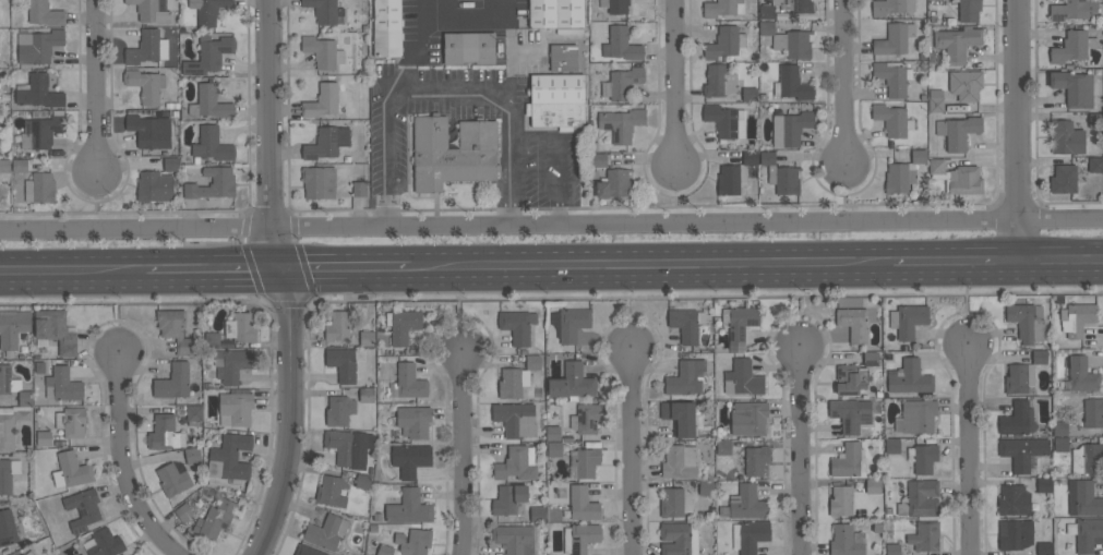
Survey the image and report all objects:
building: (794, 4)
building: (618, 7)
building: (891, 7)
building: (721, 8)
building: (207, 10)
building: (969, 10)
building: (1074, 10)
building: (149, 11)
building: (323, 11)
building: (766, 12)
building: (45, 13)
building: (555, 13)
building: (386, 28)
building: (767, 28)
road: (421, 33)
building: (895, 38)
building: (724, 43)
building: (792, 44)
building: (956, 44)
building: (621, 45)
building: (37, 47)
building: (1072, 47)
building: (146, 48)
building: (468, 48)
building: (322, 51)
building: (208, 55)
building: (563, 58)
building: (892, 76)
building: (719, 81)
road: (843, 82)
building: (622, 83)
road: (673, 84)
building: (792, 84)
building: (966, 84)
building: (144, 85)
road: (444, 85)
road: (95, 86)
building: (1074, 87)
road: (398, 89)
building: (37, 92)
building: (750, 94)
road: (500, 98)
building: (556, 100)
building: (936, 100)
building: (322, 101)
building: (209, 102)
building: (892, 119)
building: (726, 121)
building: (621, 123)
building: (789, 129)
road: (1015, 129)
building: (149, 131)
building: (40, 132)
building: (957, 132)
road: (272, 135)
building: (1067, 138)
building: (326, 143)
building: (212, 145)
building: (453, 153)
building: (918, 156)
road: (556, 158)
building: (767, 158)
building: (599, 159)
building: (170, 164)
building: (1095, 165)
building: (4, 166)
building: (20, 166)
road: (512, 166)
building: (935, 166)
road: (386, 168)
building: (898, 178)
building: (731, 179)
building: (784, 179)
building: (1064, 179)
building: (961, 180)
building: (319, 182)
building: (212, 183)
building: (614, 183)
building: (154, 186)
building: (39, 188)
building: (359, 189)
road: (846, 191)
road: (674, 194)
road: (551, 222)
road: (1057, 248)
road: (952, 260)
road: (650, 264)
road: (346, 270)
road: (214, 272)
traffic signals: (281, 272)
road: (1057, 273)
road: (73, 274)
road: (967, 301)
road: (631, 306)
road: (802, 307)
road: (466, 310)
road: (121, 314)
building: (1077, 318)
building: (908, 319)
building: (740, 322)
building: (1027, 322)
building: (570, 323)
building: (853, 323)
building: (686, 324)
building: (404, 325)
building: (337, 326)
building: (517, 326)
building: (12, 327)
building: (241, 327)
building: (175, 329)
building: (56, 330)
building: (367, 338)
building: (212, 339)
building: (1039, 357)
building: (870, 358)
building: (532, 362)
building: (341, 363)
building: (235, 364)
building: (1082, 375)
building: (909, 377)
building: (1019, 377)
building: (685, 378)
building: (742, 378)
building: (850, 378)
building: (8, 381)
building: (173, 382)
building: (512, 382)
building: (572, 383)
building: (403, 384)
building: (62, 385)
building: (367, 395)
building: (25, 398)
building: (236, 409)
building: (339, 410)
building: (1092, 412)
building: (194, 413)
building: (850, 413)
road: (293, 414)
building: (916, 417)
building: (679, 418)
building: (748, 418)
building: (516, 419)
building: (585, 419)
building: (1017, 419)
building: (71, 421)
building: (413, 421)
building: (10, 425)
building: (1059, 427)
building: (165, 433)
building: (552, 433)
building: (44, 436)
building: (1060, 444)
building: (892, 445)
building: (348, 447)
building: (723, 447)
building: (554, 448)
road: (968, 449)
road: (633, 451)
building: (1022, 451)
road: (466, 454)
road: (802, 454)
building: (192, 455)
building: (229, 457)
building: (922, 458)
building: (1087, 458)
building: (410, 459)
building: (851, 459)
building: (755, 460)
building: (585, 461)
building: (679, 461)
building: (517, 463)
road: (125, 464)
building: (71, 470)
building: (8, 474)
building: (172, 479)
building: (362, 481)
building: (1044, 484)
building: (873, 485)
building: (705, 487)
building: (331, 491)
building: (920, 498)
building: (1082, 498)
building: (509, 499)
building: (1014, 499)
building: (840, 500)
building: (674, 502)
building: (583, 503)
building: (746, 503)
building: (409, 507)
building: (83, 509)
building: (183, 511)
building: (537, 514)
building: (217, 518)
building: (7, 528)
building: (326, 531)
building: (1086, 533)
building: (1015, 534)
building: (748, 535)
building: (924, 536)
building: (580, 538)
building: (679, 538)
building: (515, 539)
building: (846, 540)
building: (413, 541)
building: (101, 543)
building: (1044, 548)
building: (308, 550)
building: (384, 550)
building: (892, 550)
building: (23, 554)

